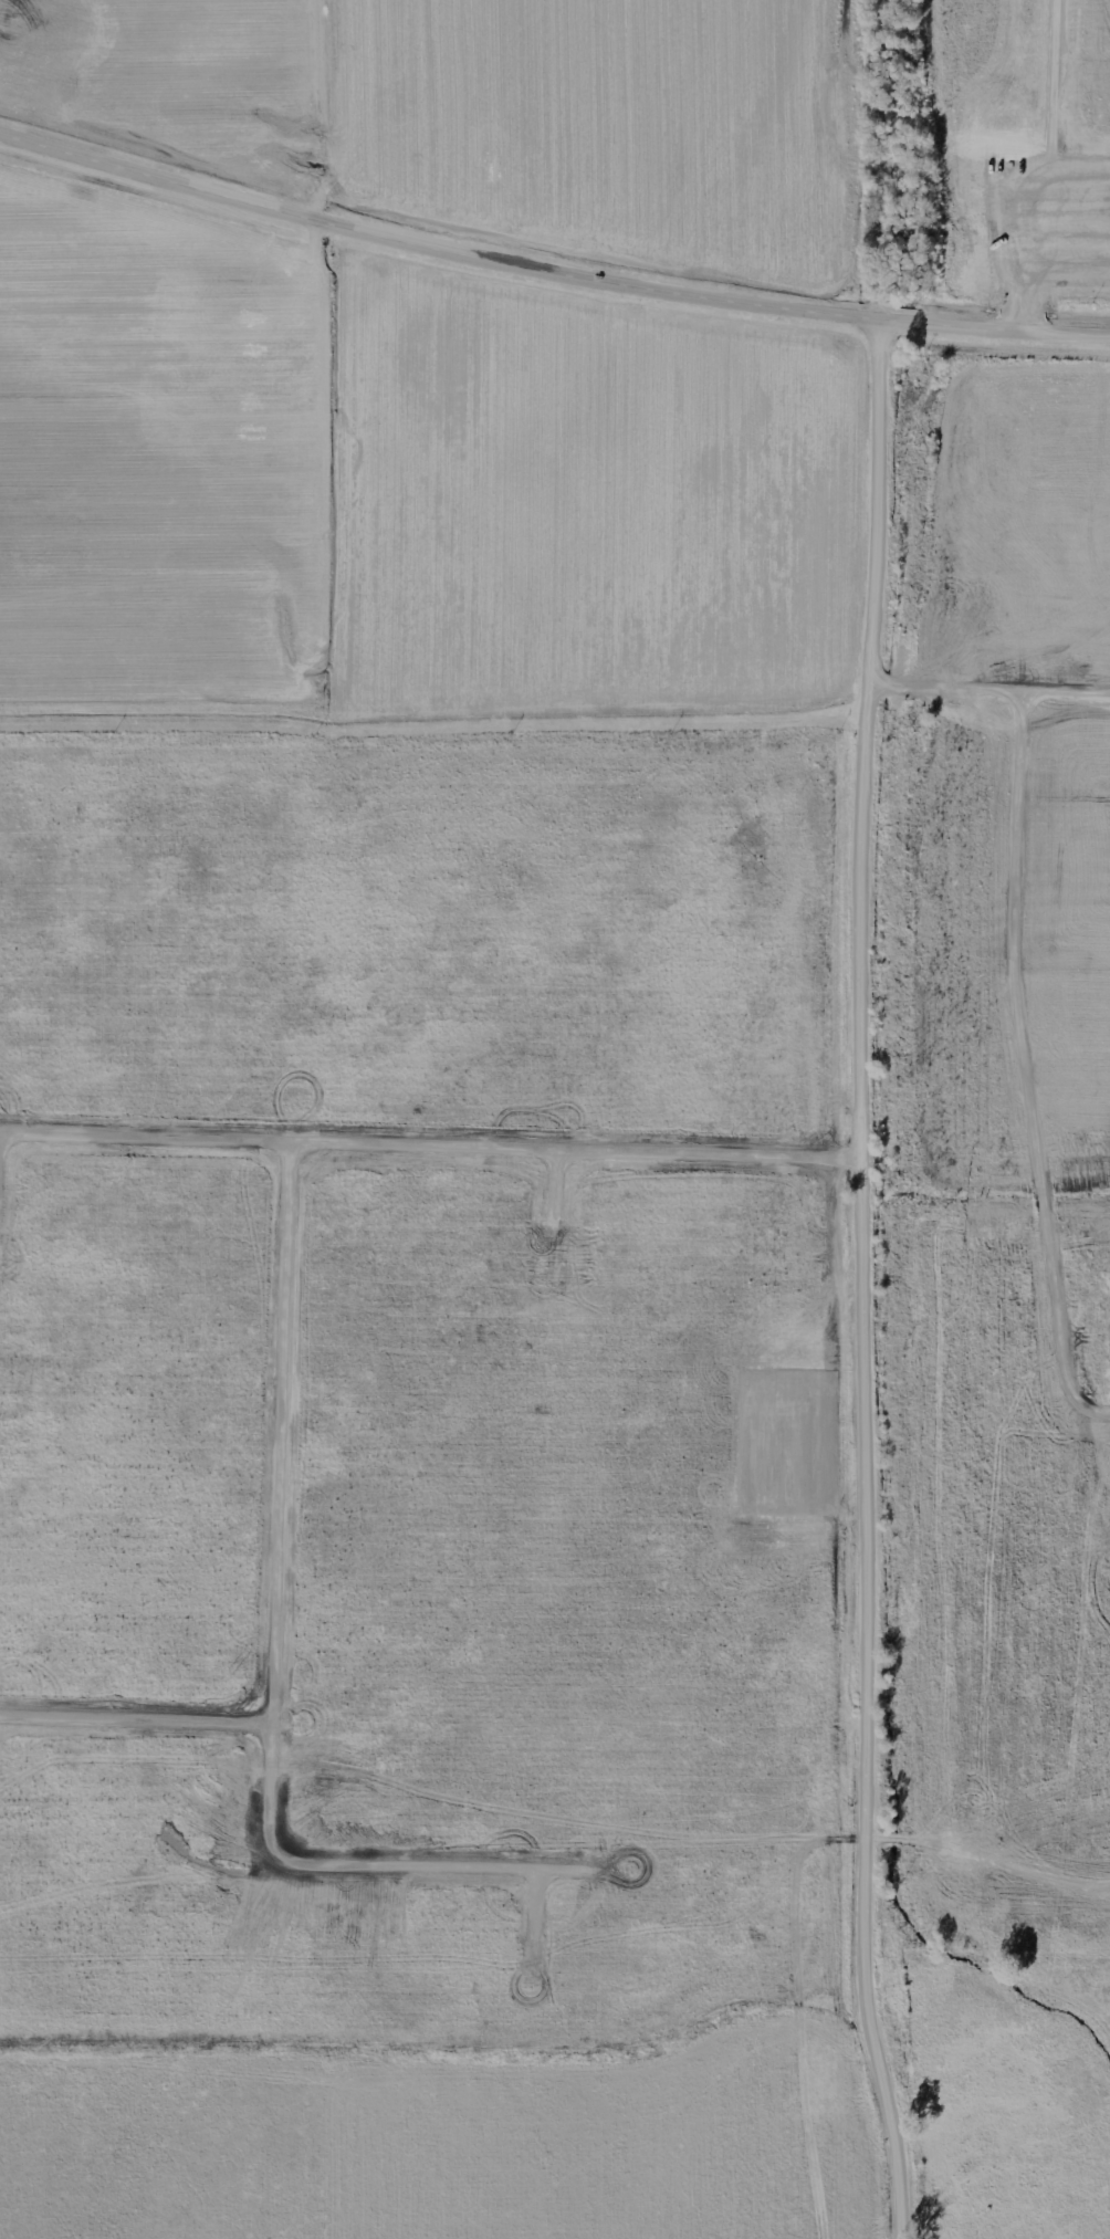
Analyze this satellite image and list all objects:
road: (548, 273)
road: (870, 1279)

